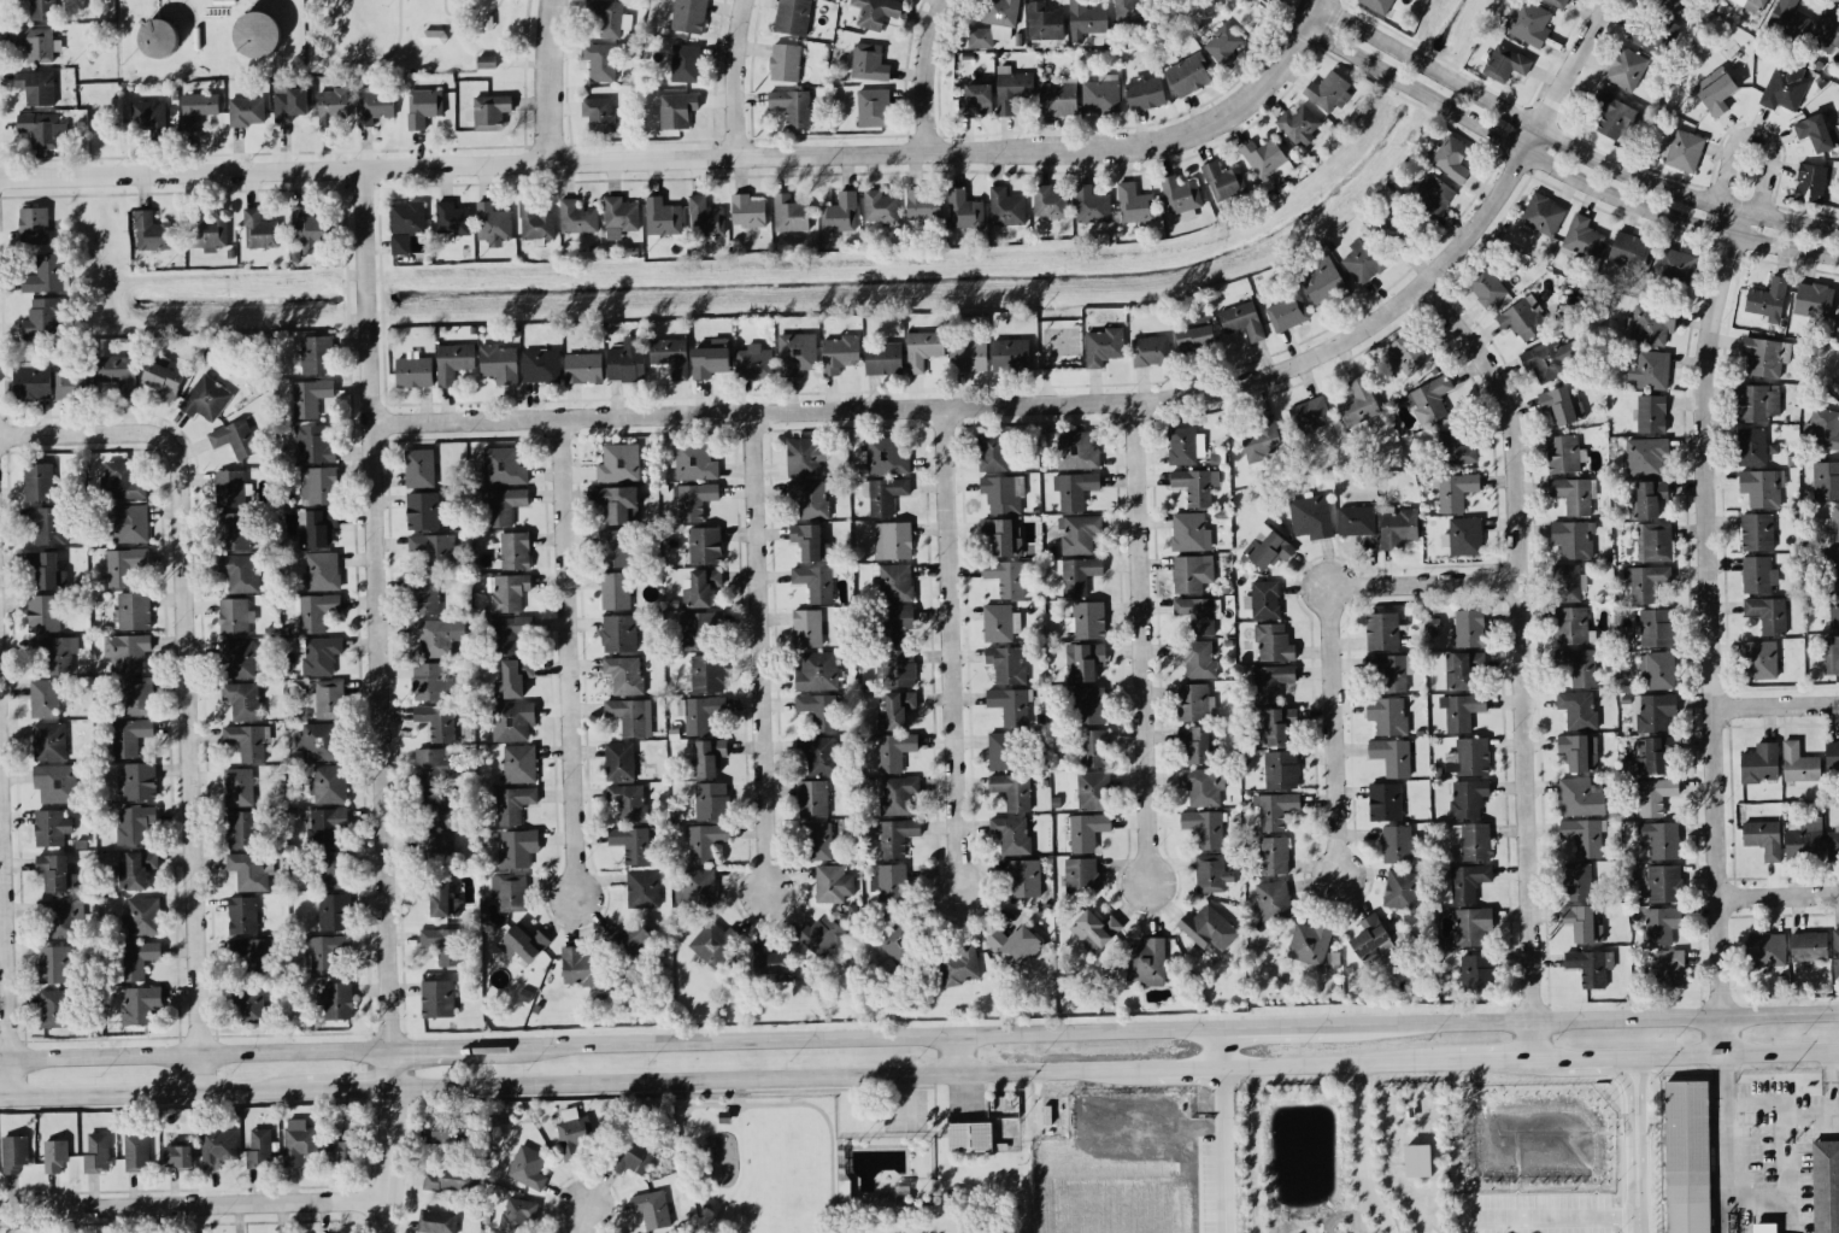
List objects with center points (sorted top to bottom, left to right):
building: (1559, 2)
building: (1670, 4)
building: (1751, 4)
building: (1377, 5)
building: (41, 8)
building: (1127, 10)
building: (873, 12)
building: (1000, 12)
building: (609, 16)
building: (688, 16)
building: (792, 16)
building: (1788, 18)
building: (1086, 19)
building: (1044, 20)
building: (1528, 22)
building: (1827, 30)
building: (257, 33)
building: (1652, 35)
building: (433, 36)
building: (980, 36)
building: (158, 37)
building: (36, 42)
building: (1223, 45)
building: (486, 60)
building: (600, 60)
building: (785, 60)
building: (685, 61)
building: (869, 61)
building: (1505, 63)
building: (1626, 67)
road: (929, 72)
building: (1188, 74)
road: (742, 76)
road: (552, 78)
building: (1785, 84)
building: (36, 86)
building: (1011, 88)
building: (1328, 90)
building: (1715, 90)
building: (1144, 92)
building: (1100, 93)
building: (1058, 96)
building: (976, 99)
building: (288, 100)
building: (333, 104)
building: (374, 104)
building: (792, 105)
building: (423, 106)
building: (873, 106)
building: (198, 108)
building: (676, 108)
building: (246, 110)
building: (490, 111)
building: (598, 112)
building: (1612, 115)
building: (148, 116)
building: (1299, 124)
building: (42, 128)
building: (1816, 131)
road: (1567, 141)
building: (1681, 148)
road: (689, 155)
building: (1267, 158)
building: (1451, 158)
road: (1561, 166)
building: (1223, 180)
building: (1810, 181)
building: (1181, 195)
building: (1432, 195)
building: (1048, 201)
building: (1135, 202)
building: (1091, 204)
building: (922, 205)
building: (880, 206)
building: (1005, 206)
building: (964, 209)
building: (747, 210)
building: (789, 212)
building: (840, 212)
building: (1543, 213)
building: (406, 216)
building: (577, 216)
building: (619, 216)
building: (662, 216)
building: (704, 216)
building: (452, 218)
building: (492, 221)
building: (535, 222)
building: (1391, 223)
building: (34, 224)
building: (307, 228)
building: (259, 229)
building: (149, 230)
building: (207, 230)
building: (1581, 237)
building: (399, 242)
building: (1629, 249)
building: (1363, 259)
building: (1674, 264)
building: (45, 274)
building: (1322, 280)
building: (1485, 286)
building: (1767, 299)
building: (1812, 299)
building: (1286, 311)
building: (42, 316)
building: (1522, 317)
building: (1242, 319)
building: (1650, 324)
building: (1195, 333)
building: (1103, 345)
building: (923, 348)
building: (1148, 350)
building: (795, 352)
building: (840, 352)
building: (316, 353)
building: (1406, 353)
building: (670, 354)
building: (968, 354)
building: (1010, 354)
building: (1763, 356)
building: (883, 357)
building: (710, 358)
building: (625, 359)
building: (453, 360)
building: (753, 360)
building: (1544, 360)
building: (499, 362)
building: (541, 364)
building: (583, 366)
building: (1650, 369)
building: (413, 370)
building: (118, 371)
building: (161, 376)
building: (31, 382)
building: (74, 383)
building: (309, 395)
building: (205, 398)
building: (1429, 400)
building: (1358, 401)
building: (1757, 401)
road: (1082, 405)
building: (1561, 405)
building: (1651, 412)
building: (1309, 413)
building: (1825, 428)
building: (234, 438)
building: (1261, 439)
building: (313, 442)
building: (1185, 444)
building: (1456, 445)
building: (1751, 446)
building: (1075, 450)
building: (991, 451)
building: (1562, 452)
building: (886, 454)
building: (804, 456)
building: (1645, 456)
building: (694, 460)
building: (618, 463)
building: (504, 465)
building: (419, 466)
building: (1826, 478)
building: (122, 480)
building: (37, 481)
building: (317, 485)
building: (1195, 485)
building: (1762, 486)
building: (229, 487)
building: (1074, 488)
building: (1455, 489)
building: (1003, 492)
building: (883, 493)
building: (1573, 493)
building: (811, 497)
building: (1647, 498)
building: (693, 499)
building: (618, 503)
building: (504, 505)
building: (423, 509)
building: (1310, 515)
building: (1356, 519)
building: (1832, 521)
building: (129, 522)
building: (47, 523)
building: (316, 527)
building: (1398, 527)
building: (235, 529)
building: (1189, 530)
building: (1756, 530)
building: (1077, 532)
building: (1001, 535)
building: (1463, 535)
building: (1573, 538)
building: (893, 539)
building: (810, 541)
building: (1653, 541)
building: (704, 545)
building: (1267, 546)
building: (615, 547)
building: (431, 548)
building: (515, 550)
building: (124, 564)
building: (1832, 564)
building: (47, 569)
building: (322, 570)
building: (239, 571)
building: (1191, 571)
building: (1079, 574)
building: (1757, 574)
building: (1005, 576)
building: (815, 581)
building: (892, 581)
building: (1567, 581)
building: (1645, 581)
building: (700, 586)
road: (1714, 586)
road: (1327, 587)
building: (615, 589)
building: (509, 591)
building: (423, 594)
building: (1263, 598)
building: (1833, 607)
building: (133, 610)
building: (315, 610)
building: (42, 612)
building: (1198, 612)
building: (1767, 612)
building: (235, 615)
building: (1087, 618)
building: (897, 622)
building: (999, 622)
building: (1570, 624)
building: (806, 627)
building: (1469, 627)
building: (1649, 629)
building: (694, 630)
building: (1381, 630)
building: (618, 632)
building: (506, 633)
building: (437, 634)
road: (1334, 640)
building: (1273, 641)
road: (1141, 644)
road: (952, 650)
building: (54, 651)
building: (125, 651)
building: (1831, 653)
building: (319, 654)
road: (763, 656)
road: (1527, 656)
building: (1197, 657)
building: (237, 658)
building: (1759, 658)
road: (569, 659)
building: (1082, 659)
building: (1006, 663)
building: (1579, 664)
building: (897, 668)
building: (1462, 669)
building: (1657, 669)
building: (816, 670)
building: (1388, 670)
building: (624, 673)
building: (705, 673)
road: (189, 677)
building: (513, 677)
building: (429, 680)
building: (1270, 681)
building: (137, 694)
building: (43, 697)
building: (327, 698)
building: (242, 699)
road: (380, 700)
building: (1192, 700)
road: (1779, 701)
building: (1010, 704)
building: (1088, 704)
building: (895, 709)
building: (1577, 709)
building: (818, 710)
building: (1462, 710)
building: (1653, 711)
building: (699, 712)
building: (1387, 714)
building: (627, 715)
building: (512, 720)
building: (436, 721)
building: (1279, 726)
building: (129, 735)
building: (48, 740)
building: (247, 740)
building: (317, 740)
building: (1195, 741)
building: (1094, 746)
building: (894, 750)
building: (1001, 750)
building: (1579, 751)
building: (816, 753)
building: (1832, 753)
building: (709, 755)
building: (1391, 755)
building: (1652, 755)
building: (1468, 756)
building: (619, 759)
building: (518, 762)
building: (1759, 762)
building: (1798, 763)
building: (433, 765)
building: (1280, 769)
building: (137, 780)
building: (55, 782)
building: (328, 783)
building: (1201, 785)
building: (237, 786)
building: (1012, 789)
building: (1092, 789)
building: (895, 793)
building: (1655, 794)
building: (1580, 795)
building: (1468, 797)
building: (812, 798)
building: (710, 800)
building: (1383, 800)
building: (628, 802)
building: (513, 803)
building: (439, 808)
building: (1274, 809)
building: (134, 822)
building: (323, 823)
building: (51, 827)
building: (1204, 827)
building: (242, 828)
building: (1087, 829)
building: (1011, 833)
building: (894, 834)
building: (1585, 835)
building: (1763, 836)
building: (1659, 838)
building: (1803, 839)
building: (705, 840)
building: (817, 840)
building: (1470, 840)
building: (1833, 841)
building: (631, 842)
building: (1398, 844)
building: (435, 845)
building: (517, 847)
building: (1273, 855)
building: (135, 868)
building: (333, 868)
building: (248, 870)
building: (55, 871)
building: (1211, 873)
building: (1081, 874)
building: (1024, 877)
building: (889, 881)
building: (1467, 881)
building: (1576, 881)
building: (832, 882)
building: (1662, 882)
building: (642, 887)
building: (698, 887)
building: (1402, 888)
building: (510, 891)
road: (1781, 892)
building: (442, 898)
building: (1273, 899)
building: (333, 911)
building: (241, 914)
building: (141, 916)
building: (59, 917)
building: (1582, 923)
building: (1661, 923)
building: (1471, 924)
building: (1094, 928)
building: (1209, 929)
building: (821, 934)
building: (1368, 937)
road: (5, 940)
building: (522, 941)
building: (630, 941)
building: (713, 941)
building: (1309, 941)
building: (897, 943)
building: (442, 944)
building: (1445, 944)
building: (1013, 945)
building: (1808, 946)
building: (1765, 949)
building: (1835, 949)
building: (246, 950)
building: (324, 951)
building: (139, 957)
building: (1146, 959)
building: (771, 961)
building: (54, 963)
building: (959, 964)
building: (580, 965)
building: (1590, 965)
building: (1669, 967)
building: (1476, 971)
building: (436, 997)
building: (335, 999)
building: (246, 1002)
building: (140, 1004)
building: (54, 1008)
road: (1397, 1022)
road: (739, 1039)
road: (457, 1046)
road: (195, 1053)
road: (1685, 1053)
road: (956, 1055)
road: (1487, 1061)
road: (1728, 1065)
road: (918, 1076)
road: (348, 1088)
road: (152, 1093)
road: (1815, 1114)
road: (1639, 1123)
building: (443, 1127)
building: (572, 1131)
building: (970, 1135)
building: (298, 1140)
building: (217, 1146)
building: (259, 1146)
building: (339, 1146)
road: (1252, 1150)
building: (136, 1151)
road: (1222, 1151)
road: (1364, 1151)
building: (13, 1152)
building: (96, 1152)
building: (178, 1155)
building: (634, 1155)
building: (54, 1156)
building: (1687, 1156)
building: (1417, 1159)
building: (527, 1166)
building: (445, 1179)
road: (1733, 1182)
building: (1826, 1185)
road: (193, 1199)
road: (1639, 1205)
building: (652, 1208)
road: (1359, 1209)
building: (517, 1214)
road: (583, 1219)
building: (436, 1221)
road: (1555, 1221)
road: (1640, 1227)
building: (1764, 1227)

